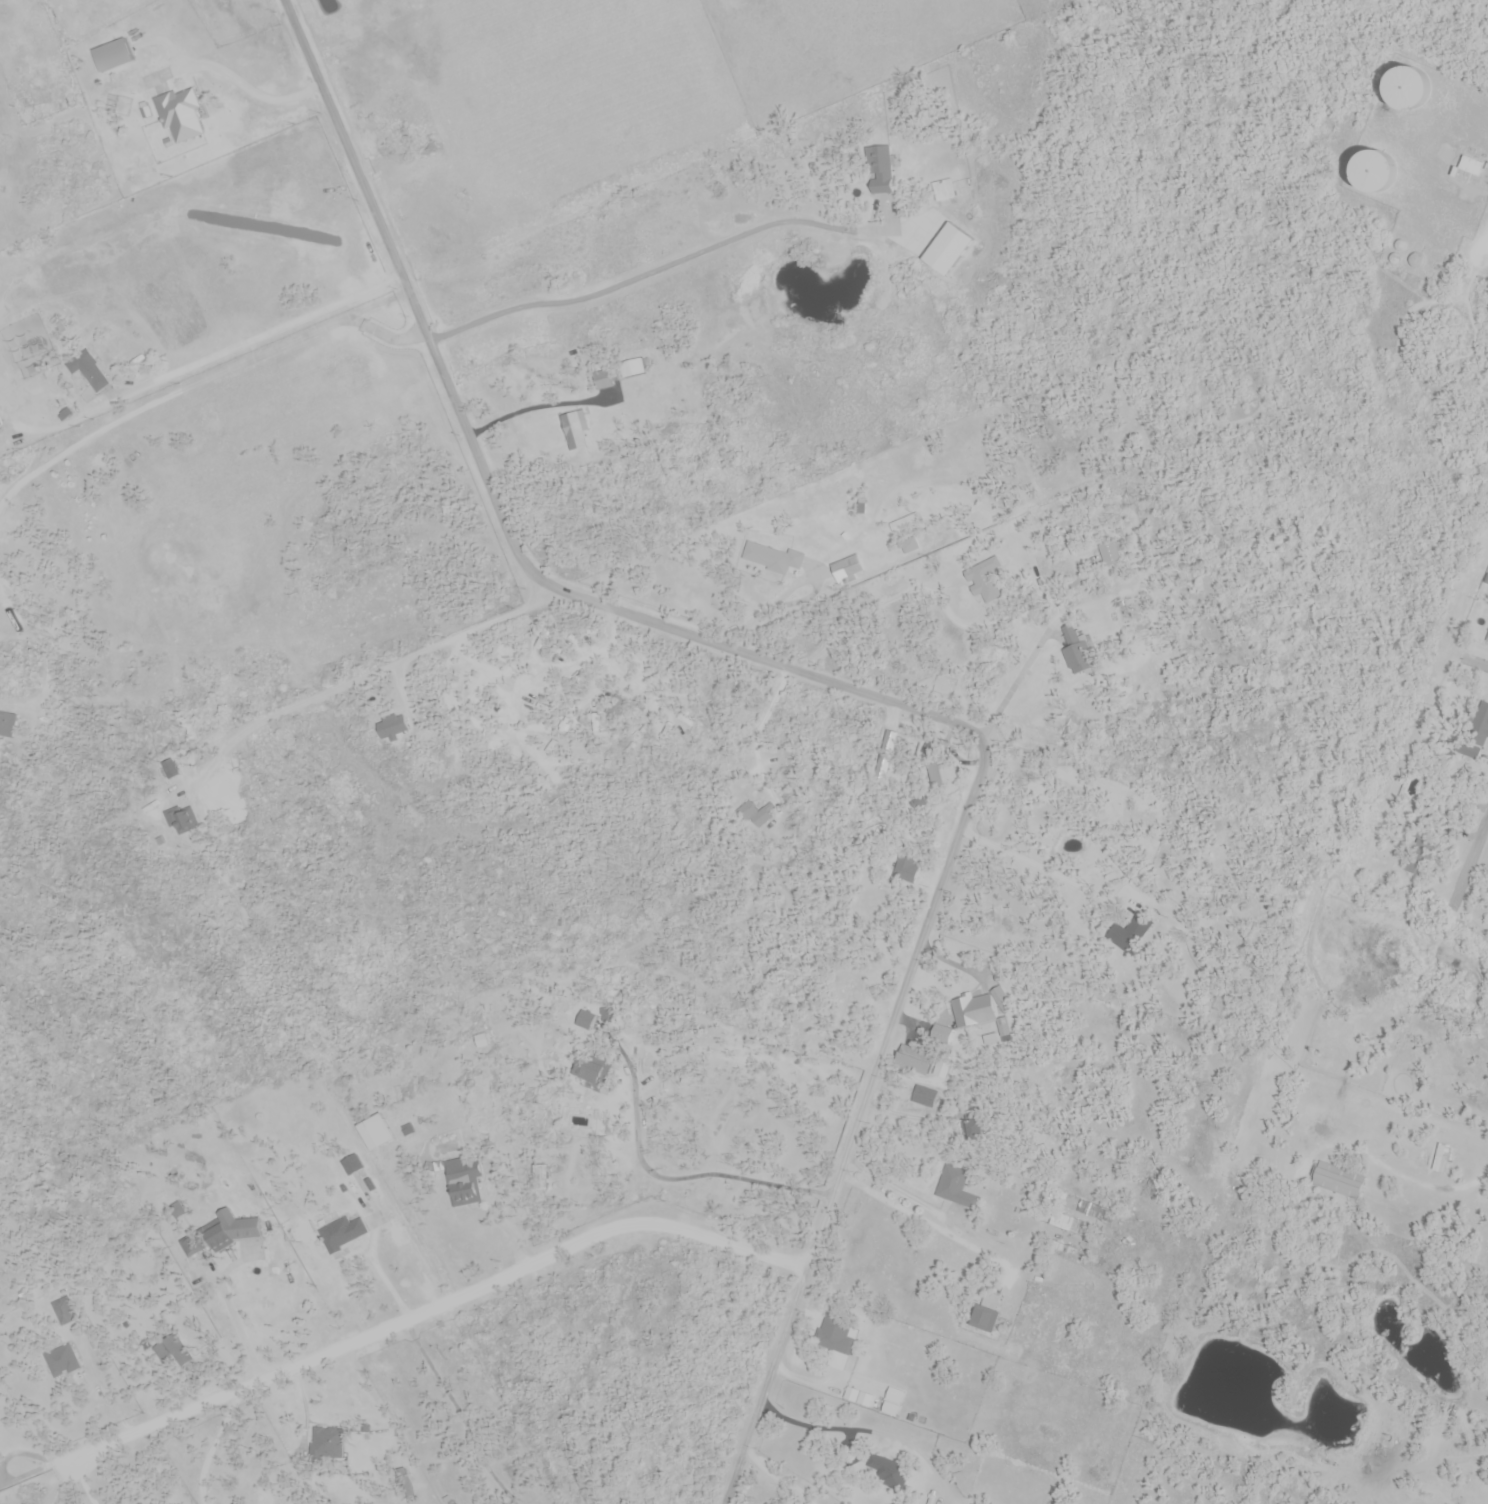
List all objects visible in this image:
building: (112, 56)
building: (1403, 89)
road: (251, 93)
building: (178, 117)
building: (878, 170)
building: (1465, 170)
building: (1368, 172)
building: (943, 191)
road: (1485, 221)
road: (203, 353)
building: (90, 373)
road: (200, 374)
building: (605, 380)
building: (0, 423)
building: (575, 432)
building: (908, 548)
building: (1110, 554)
building: (771, 558)
building: (847, 569)
building: (980, 588)
building: (1128, 607)
building: (1075, 658)
road: (1476, 662)
road: (841, 685)
building: (1478, 723)
building: (8, 725)
building: (941, 773)
building: (188, 820)
building: (765, 823)
road: (1470, 862)
building: (906, 869)
building: (1132, 931)
building: (850, 1005)
building: (985, 1011)
building: (586, 1022)
building: (913, 1061)
building: (596, 1072)
building: (925, 1096)
building: (975, 1130)
building: (374, 1134)
building: (1441, 1159)
building: (352, 1165)
road: (679, 1178)
building: (1336, 1181)
building: (463, 1183)
building: (954, 1187)
road: (896, 1192)
road: (929, 1226)
building: (232, 1231)
building: (1061, 1232)
building: (342, 1235)
building: (189, 1246)
road: (430, 1307)
building: (983, 1312)
building: (834, 1335)
building: (62, 1361)
building: (1487, 1364)
road: (803, 1380)
building: (326, 1446)
road: (210, 1447)

